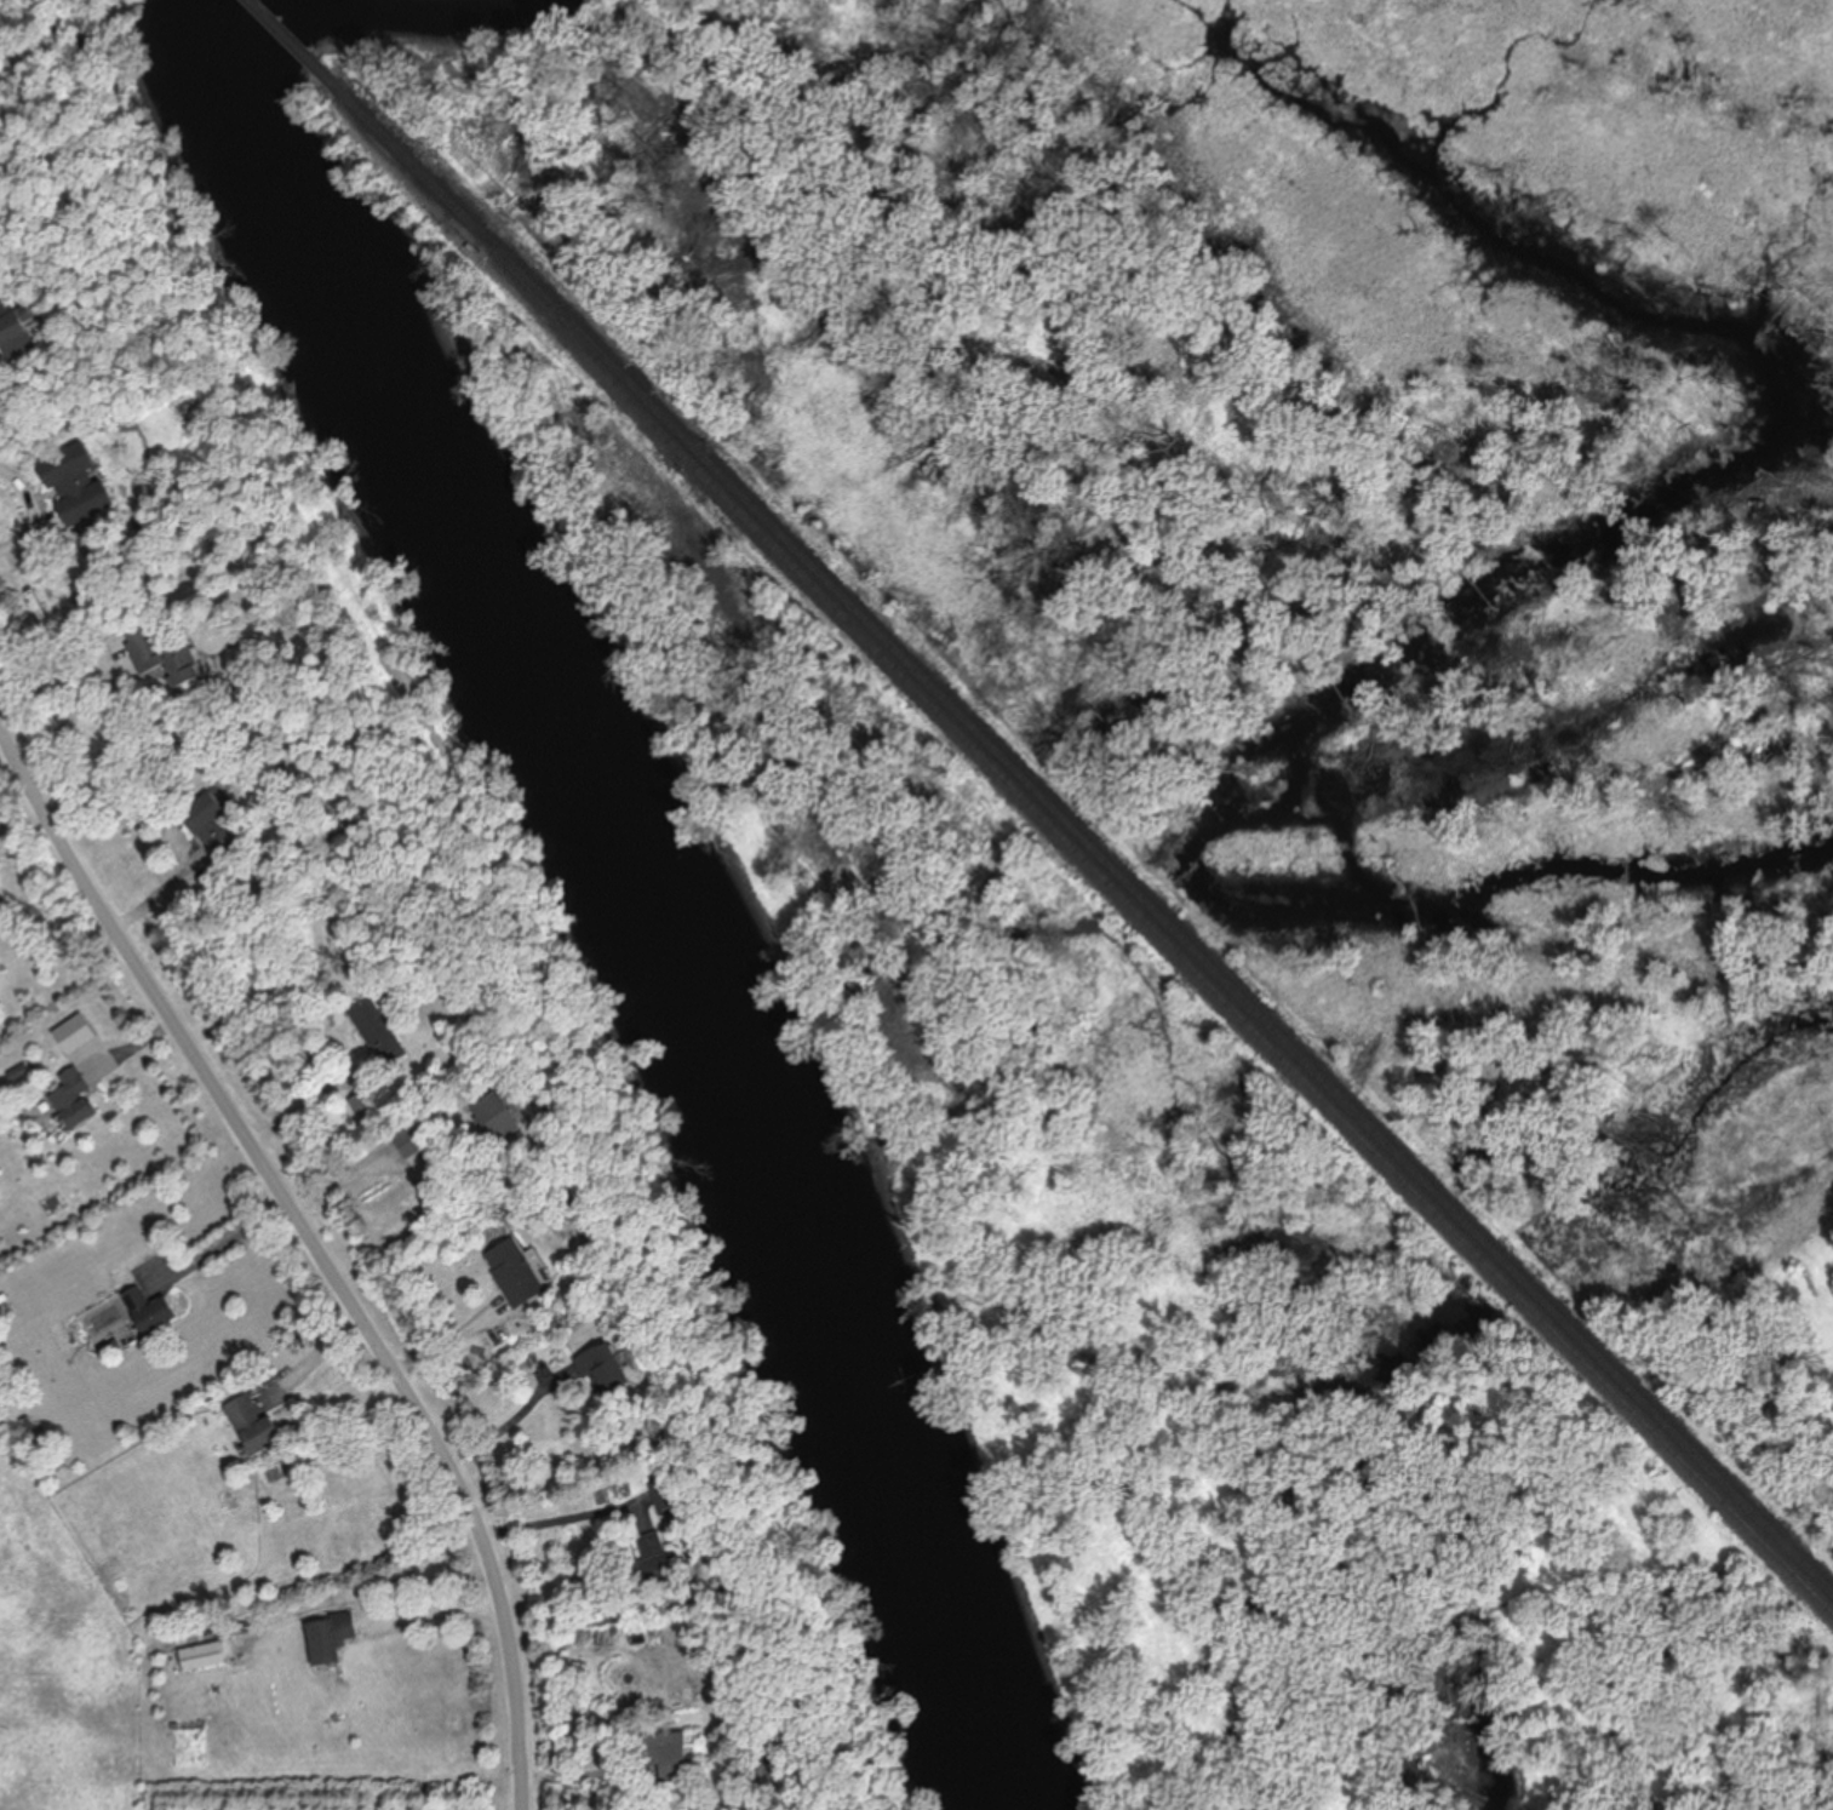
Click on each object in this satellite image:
railway: (300, 46)
railway: (417, 162)
building: (16, 332)
building: (78, 486)
road: (35, 510)
building: (165, 657)
road: (76, 716)
building: (212, 826)
river: (608, 897)
railway: (1161, 910)
railway: (1155, 924)
road: (53, 928)
building: (383, 1032)
building: (78, 1035)
building: (76, 1100)
road: (313, 1100)
building: (498, 1119)
building: (418, 1147)
road: (227, 1244)
road: (322, 1245)
building: (517, 1273)
building: (150, 1310)
road: (456, 1340)
road: (319, 1359)
building: (605, 1369)
road: (514, 1422)
building: (254, 1427)
building: (670, 1496)
road: (559, 1519)
building: (654, 1545)
building: (665, 1569)
road: (433, 1615)
building: (331, 1639)
building: (202, 1657)
building: (666, 1755)
road: (590, 1775)
building: (769, 1775)

